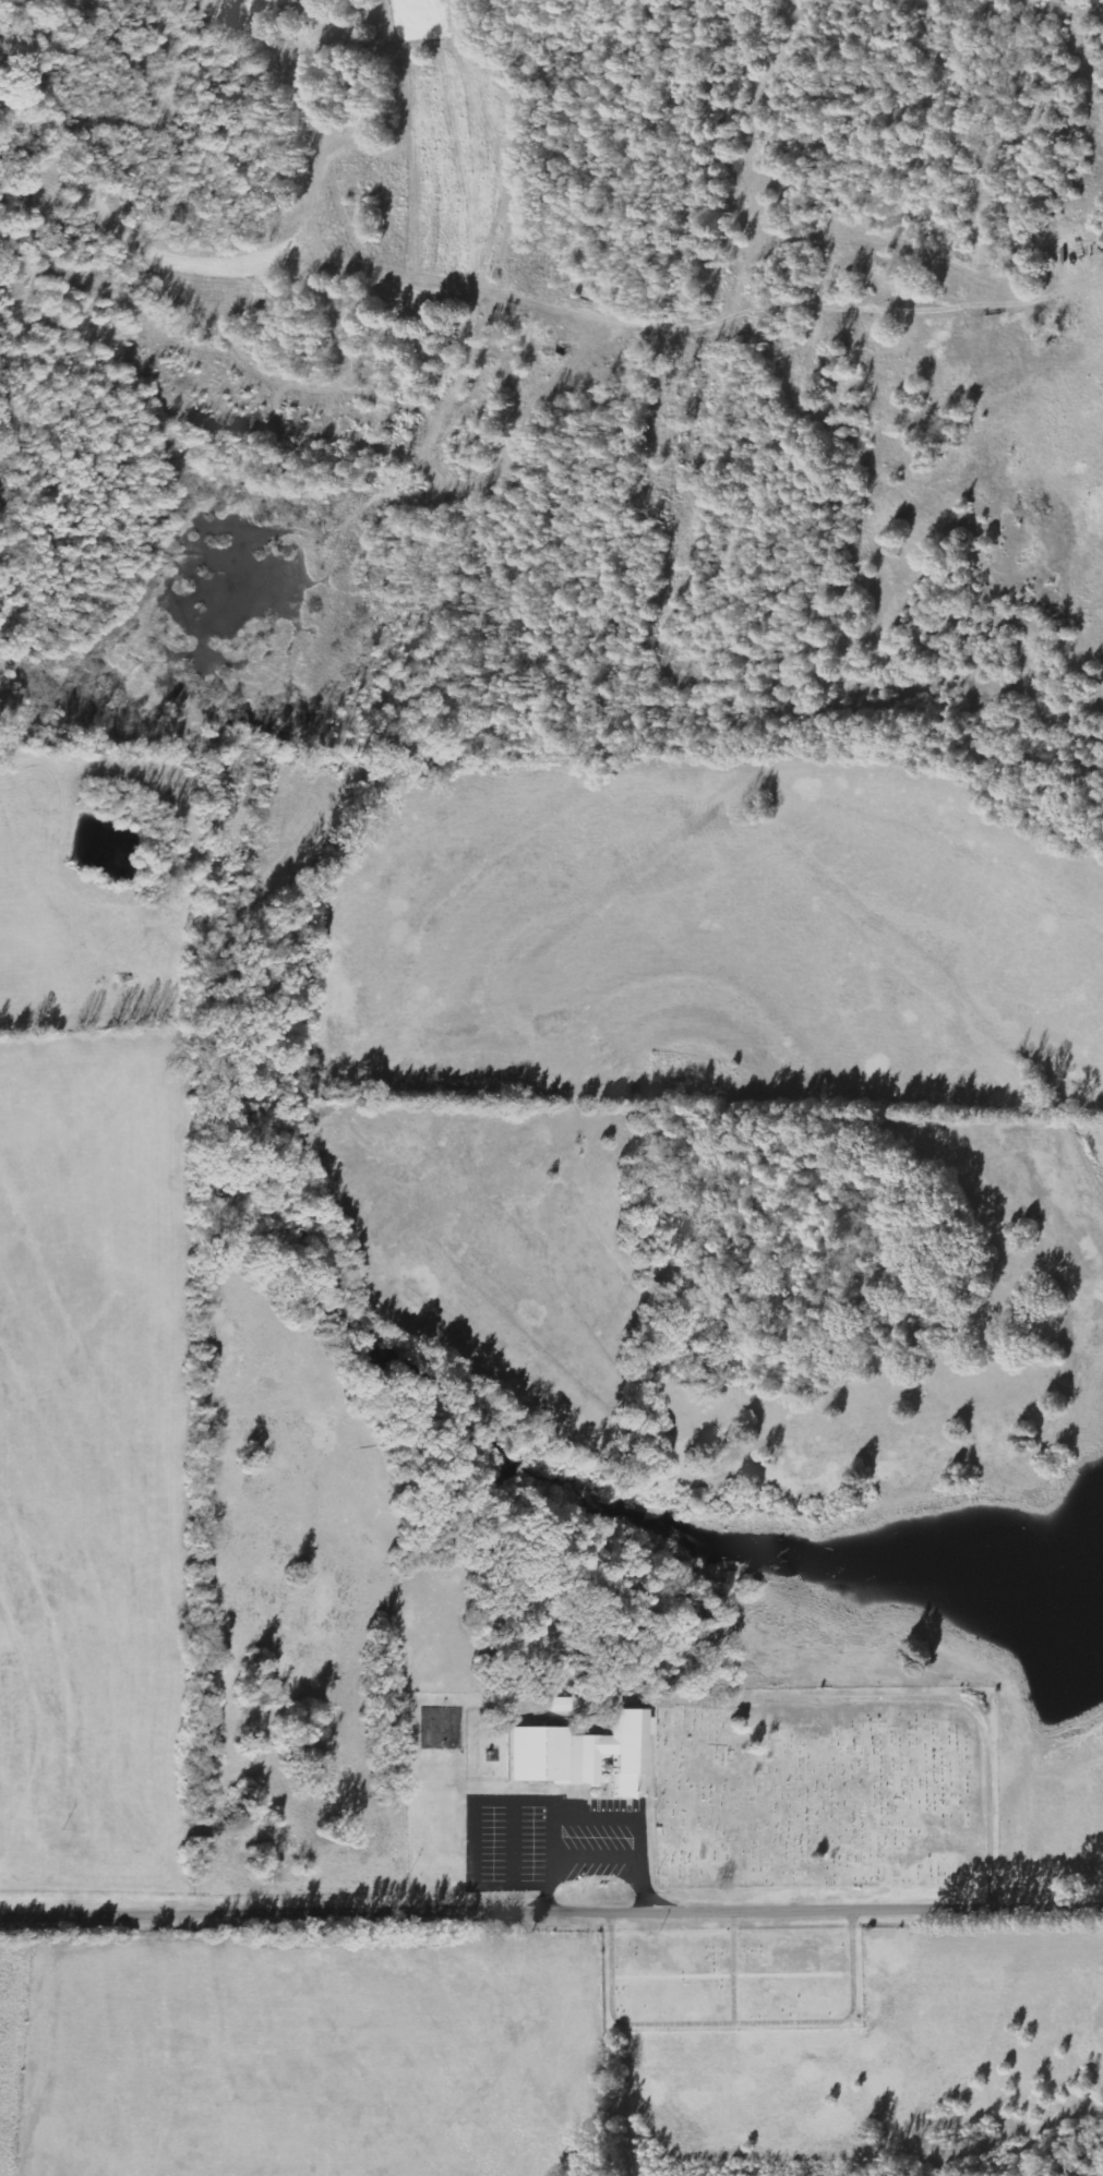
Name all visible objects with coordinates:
building: (559, 1705)
building: (584, 1755)
park: (826, 1784)
road: (551, 1905)
park: (734, 1977)

